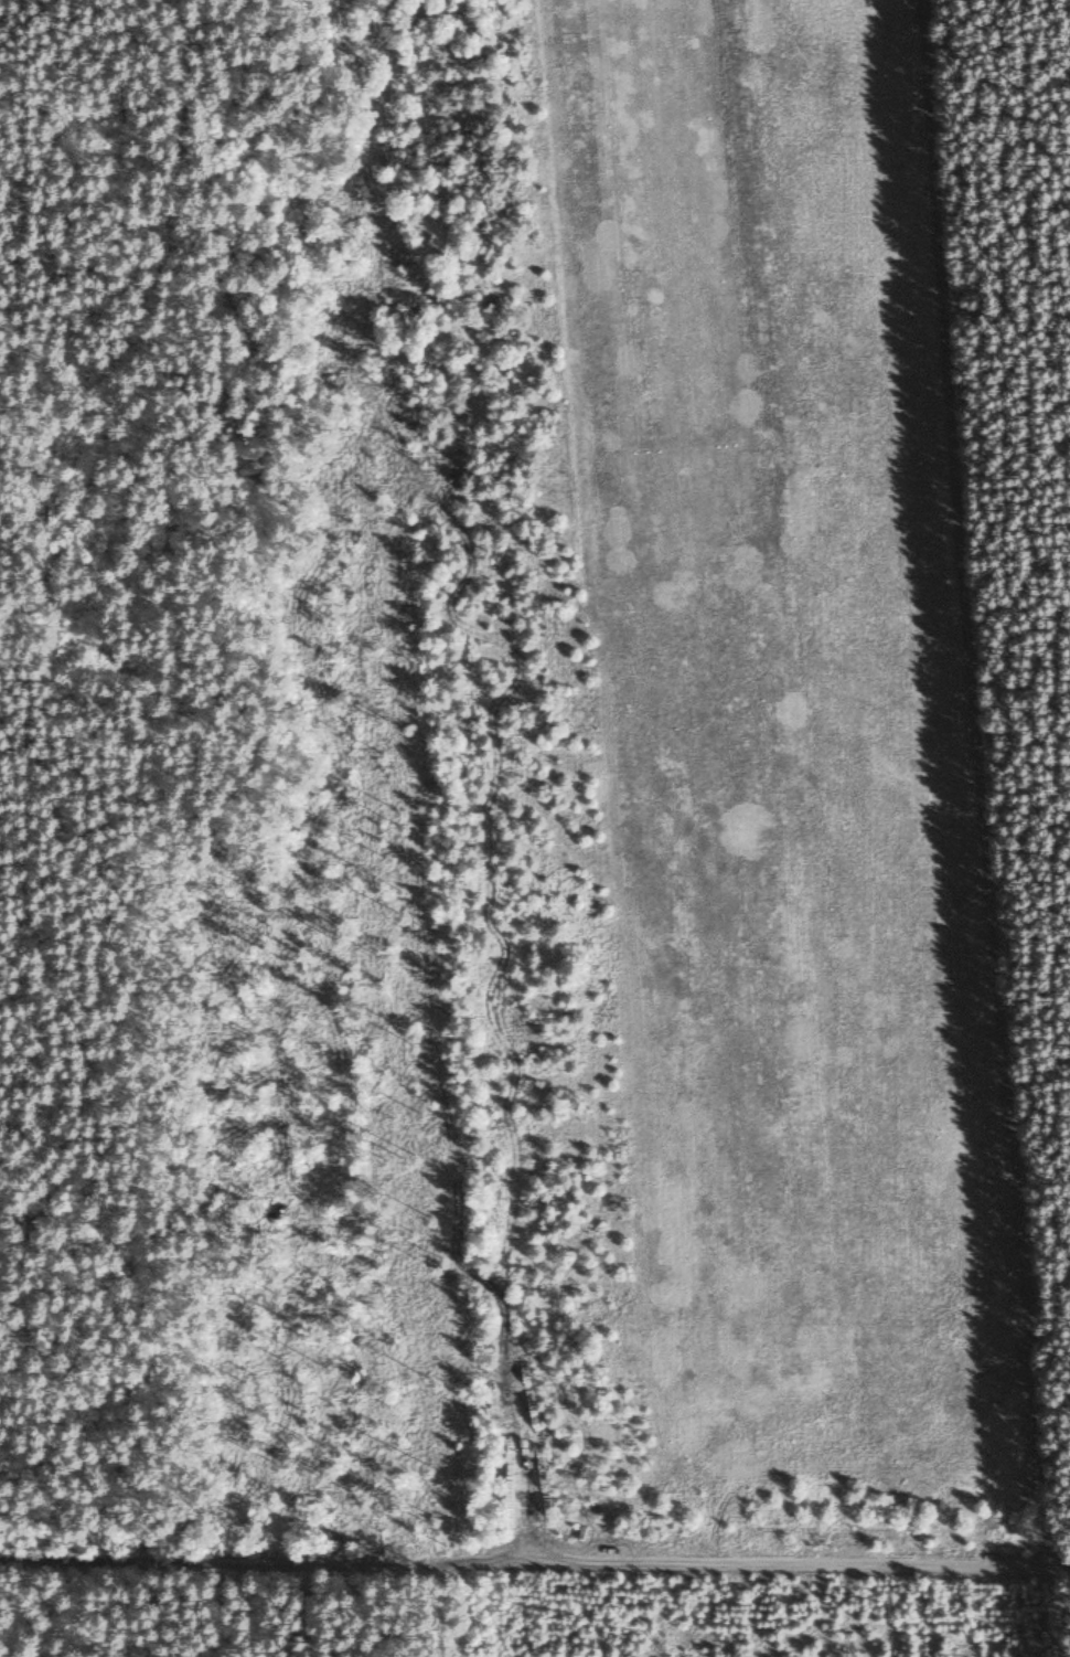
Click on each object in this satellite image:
airport runway: (678, 222)
road: (535, 1561)

